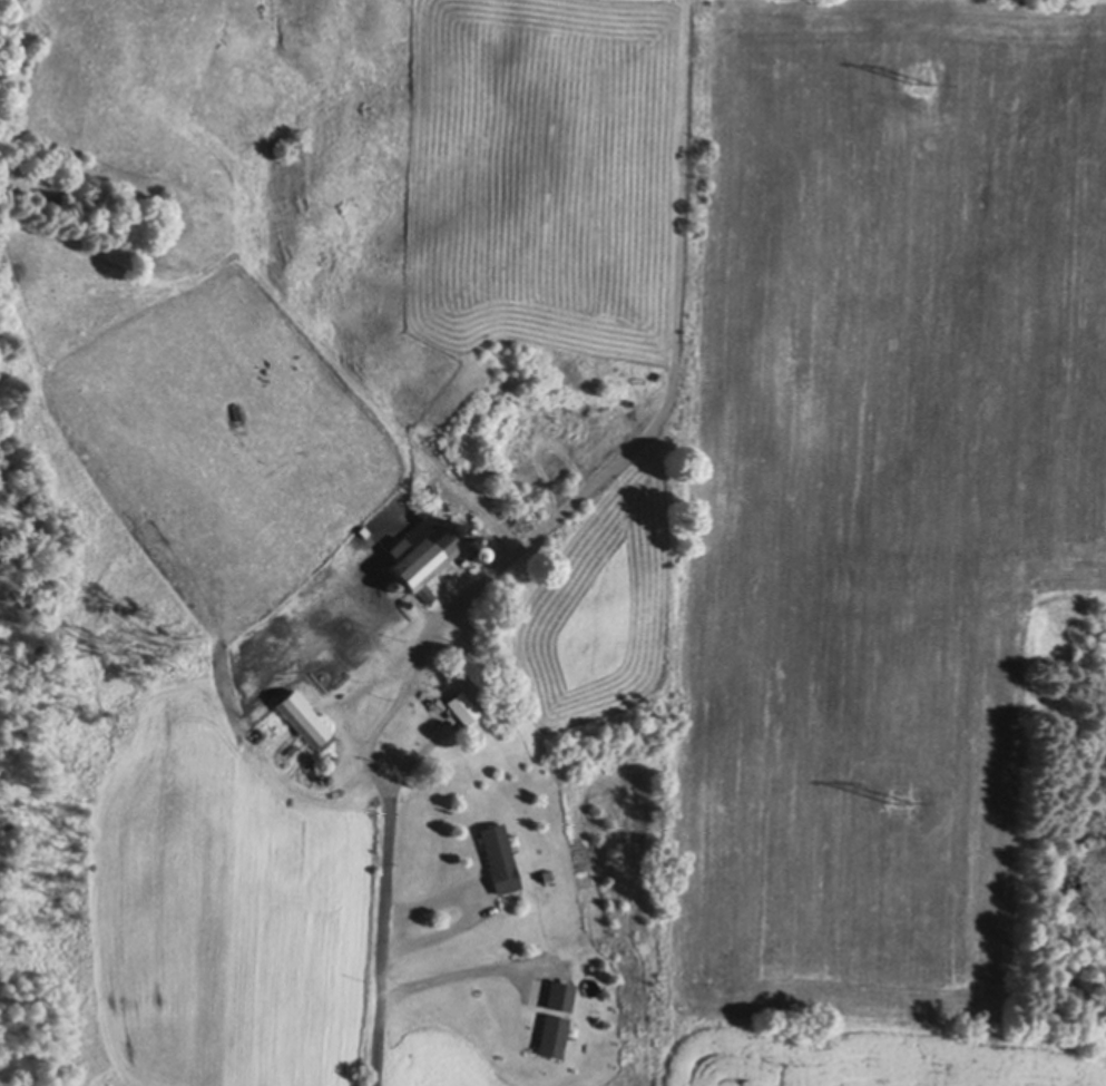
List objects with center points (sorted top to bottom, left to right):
power tower: (914, 78)
building: (477, 516)
building: (365, 529)
building: (424, 554)
building: (467, 566)
building: (392, 584)
building: (463, 704)
building: (304, 716)
building: (331, 755)
building: (324, 774)
power tower: (897, 796)
building: (499, 854)
building: (548, 875)
road: (385, 941)
building: (560, 992)
building: (552, 1033)

